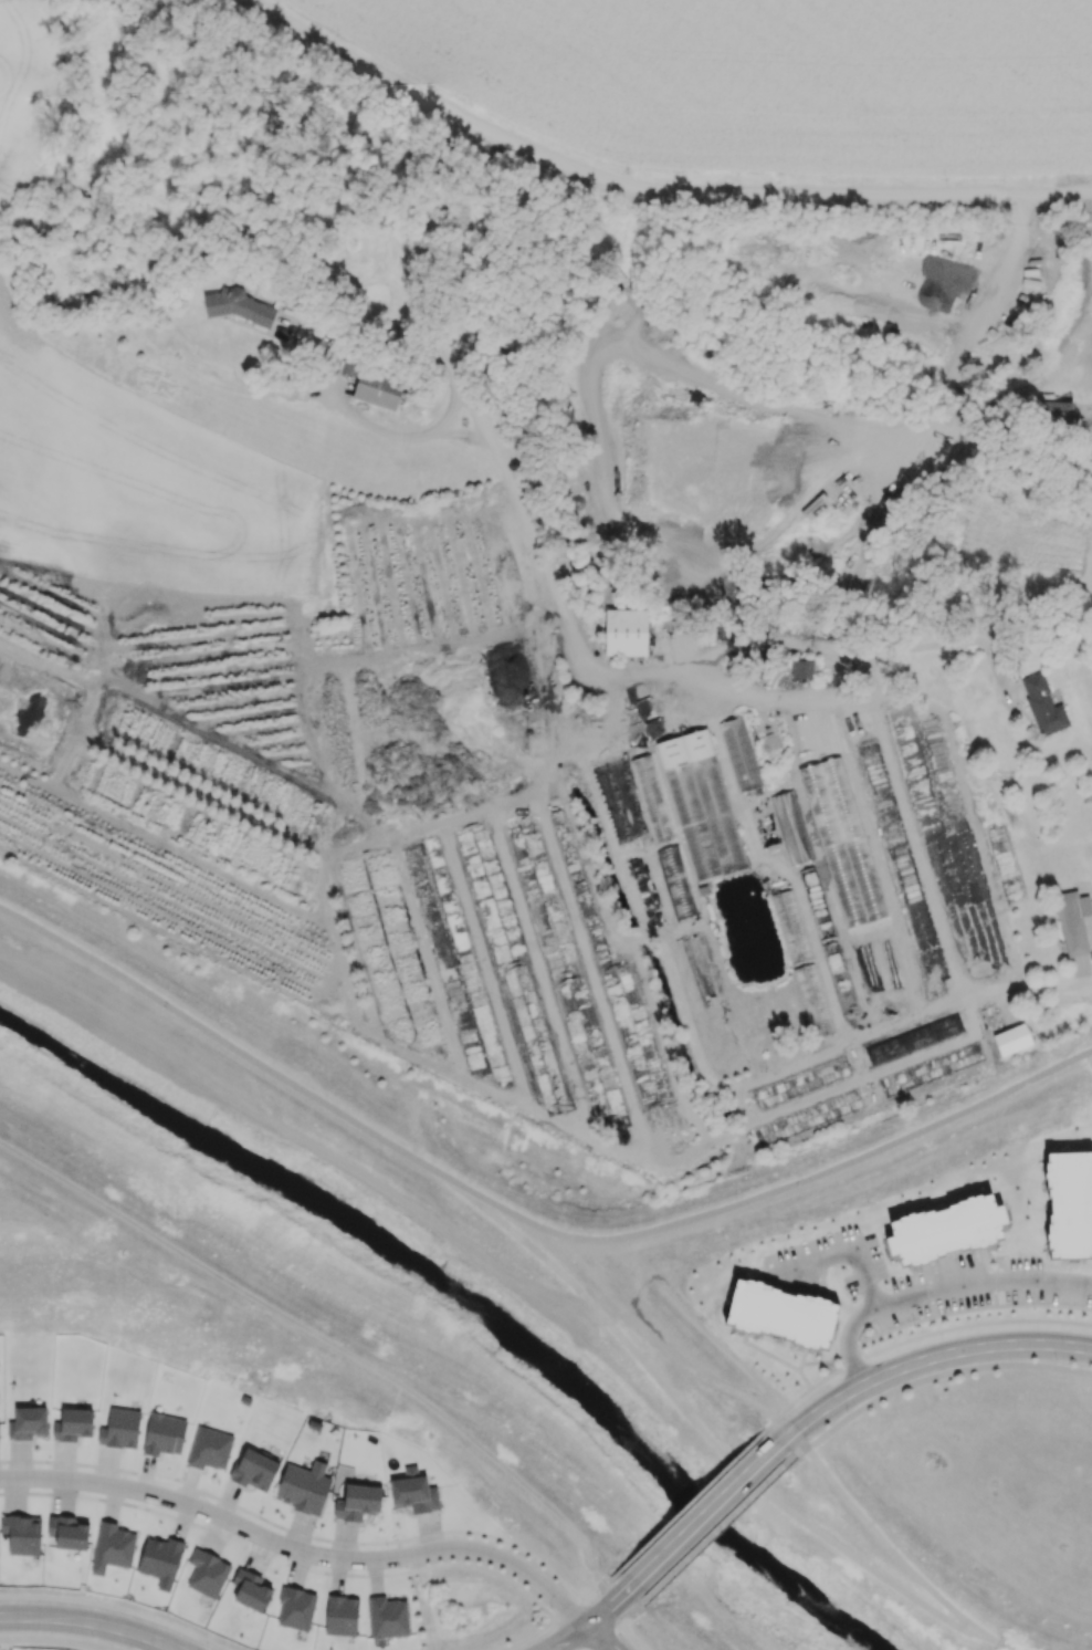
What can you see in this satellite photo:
crop: (769, 76)
road: (642, 194)
road: (6, 227)
road: (427, 252)
building: (239, 306)
building: (349, 365)
building: (378, 388)
building: (1057, 411)
road: (376, 427)
road: (470, 436)
road: (554, 581)
building: (626, 633)
road: (846, 648)
building: (801, 668)
building: (1042, 704)
road: (595, 730)
building: (739, 753)
building: (651, 796)
building: (704, 806)
building: (790, 826)
building: (842, 840)
road: (873, 845)
road: (775, 865)
building: (673, 876)
building: (1072, 921)
road: (1032, 985)
building: (813, 1000)
building: (912, 1038)
building: (1011, 1038)
road: (232, 1045)
road: (832, 1046)
road: (1089, 1056)
building: (931, 1068)
road: (857, 1082)
building: (798, 1083)
building: (809, 1118)
road: (868, 1156)
building: (1070, 1204)
road: (506, 1210)
building: (946, 1228)
road: (590, 1240)
road: (839, 1245)
road: (195, 1260)
road: (933, 1292)
river: (462, 1298)
building: (780, 1317)
road: (648, 1332)
road: (912, 1340)
road: (624, 1341)
road: (925, 1359)
road: (941, 1376)
road: (779, 1419)
building: (28, 1422)
building: (73, 1424)
building: (120, 1428)
building: (164, 1434)
building: (209, 1448)
road: (796, 1459)
building: (254, 1470)
road: (508, 1471)
building: (304, 1486)
building: (413, 1491)
road: (588, 1492)
building: (358, 1502)
road: (684, 1506)
road: (707, 1513)
building: (69, 1532)
building: (22, 1534)
road: (714, 1536)
road: (883, 1542)
road: (300, 1546)
building: (112, 1547)
building: (160, 1559)
road: (872, 1569)
building: (207, 1573)
road: (607, 1581)
building: (250, 1589)
road: (617, 1598)
building: (295, 1607)
road: (638, 1607)
building: (342, 1615)
building: (388, 1617)
road: (594, 1618)
road: (91, 1622)
road: (669, 1628)
road: (621, 1629)
road: (984, 1633)
road: (67, 1635)
road: (598, 1638)
road: (599, 1638)

